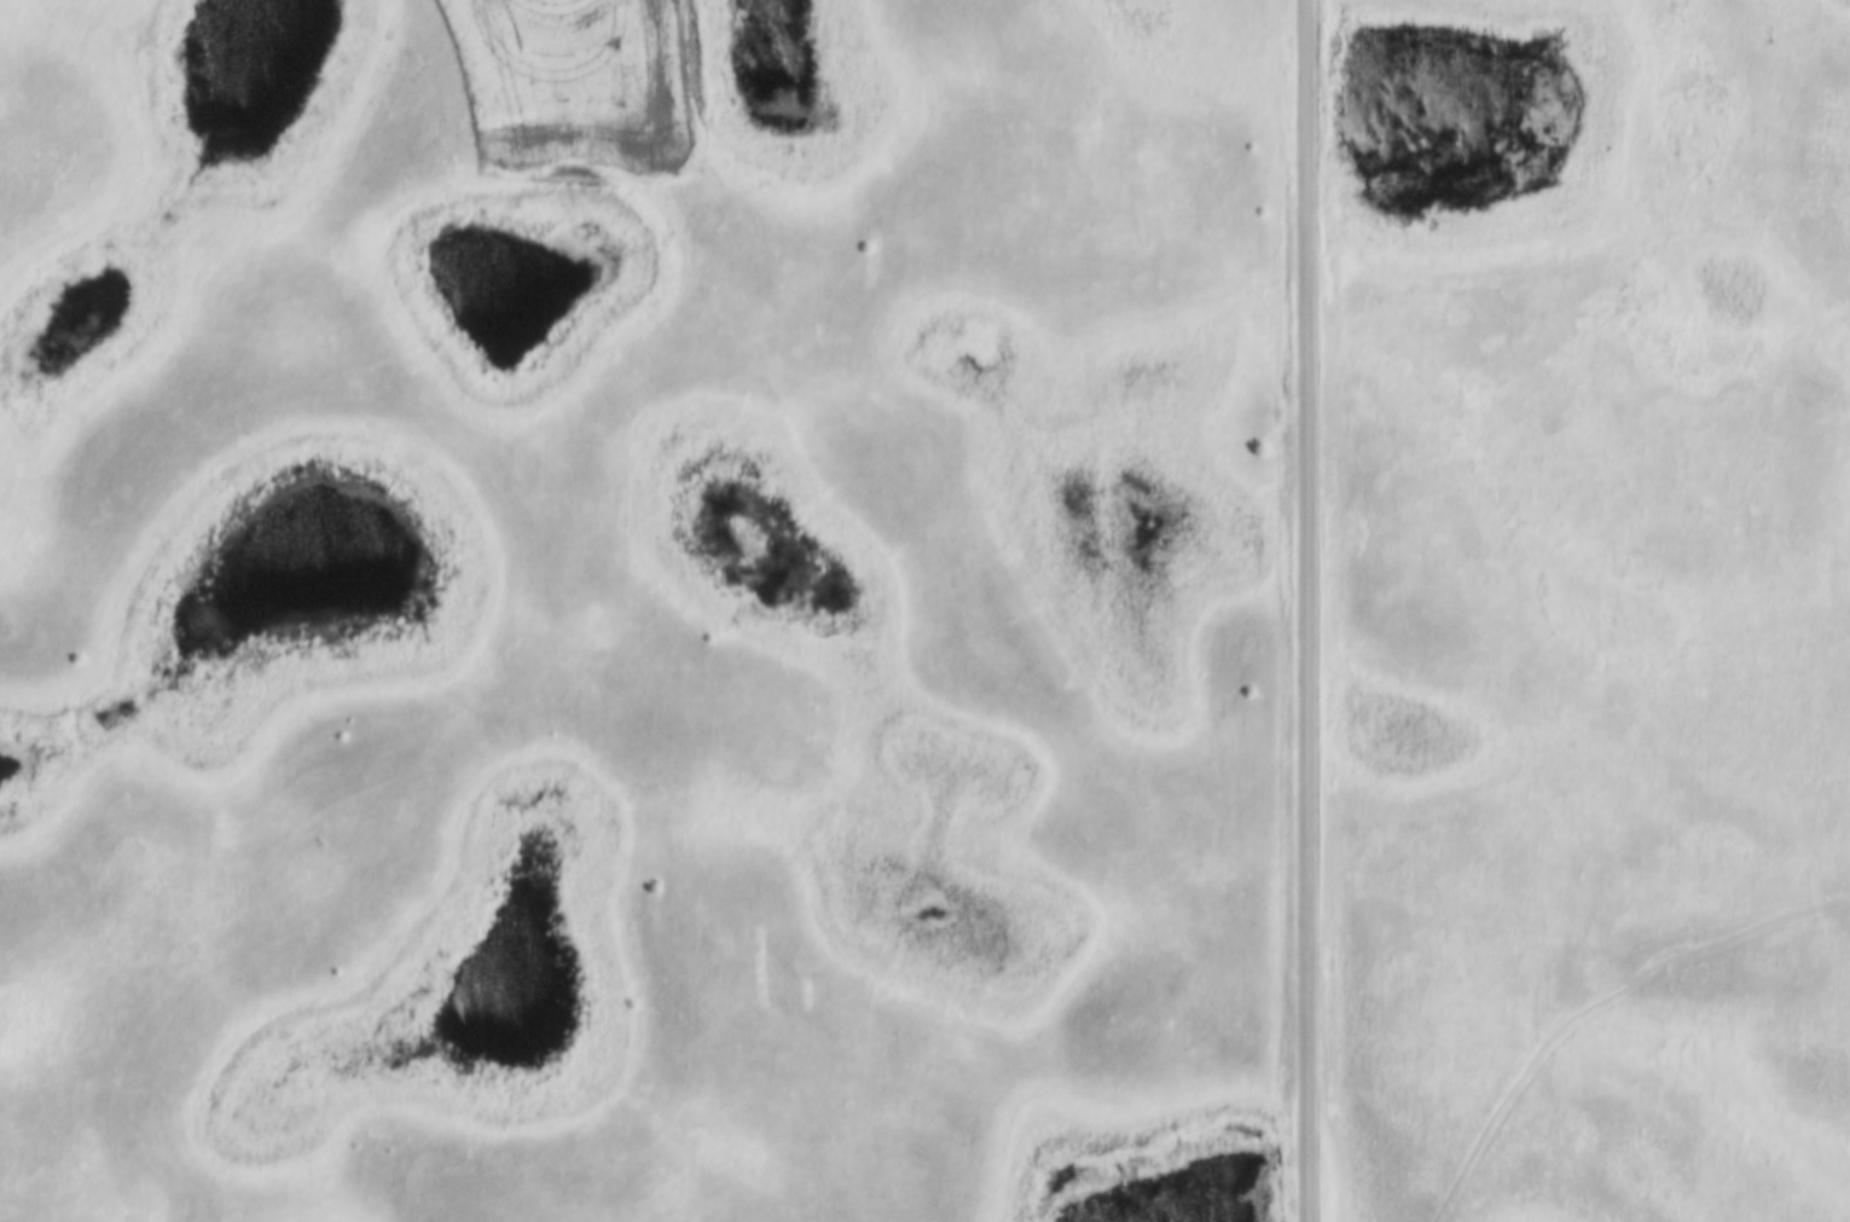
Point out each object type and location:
road: (1307, 610)

